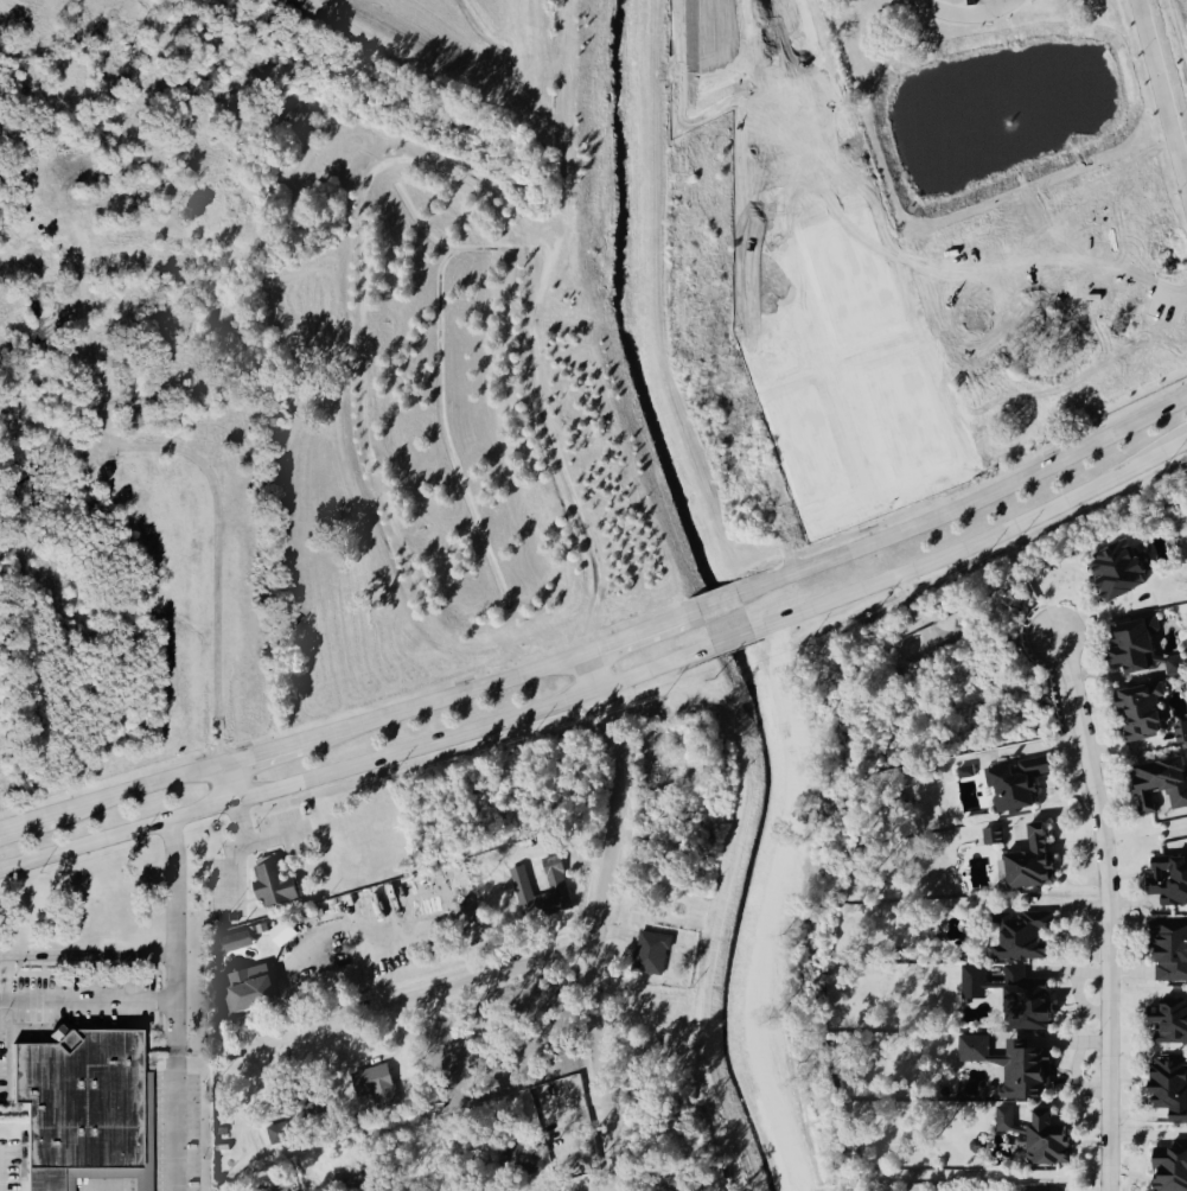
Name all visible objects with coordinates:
road: (959, 12)
road: (1160, 83)
road: (218, 495)
road: (963, 504)
road: (971, 543)
building: (1123, 569)
road: (714, 605)
road: (638, 632)
road: (728, 639)
building: (1137, 647)
building: (1175, 664)
road: (440, 696)
building: (1144, 711)
building: (1182, 731)
road: (260, 752)
road: (355, 763)
building: (964, 771)
road: (228, 782)
building: (1164, 782)
building: (1020, 783)
road: (136, 789)
road: (25, 822)
building: (991, 835)
building: (1036, 860)
building: (1170, 879)
building: (276, 880)
building: (557, 880)
road: (1108, 910)
road: (598, 919)
building: (281, 932)
building: (1027, 938)
building: (236, 941)
building: (1172, 950)
building: (652, 953)
road: (88, 956)
building: (975, 981)
building: (253, 995)
road: (411, 996)
building: (1032, 999)
road: (88, 1001)
road: (176, 1005)
building: (1172, 1023)
building: (1016, 1064)
building: (377, 1084)
building: (1173, 1087)
building: (307, 1103)
building: (89, 1108)
building: (1007, 1119)
building: (276, 1133)
building: (1027, 1140)
building: (1052, 1141)
building: (1173, 1167)
building: (682, 1183)
road: (611, 1187)

